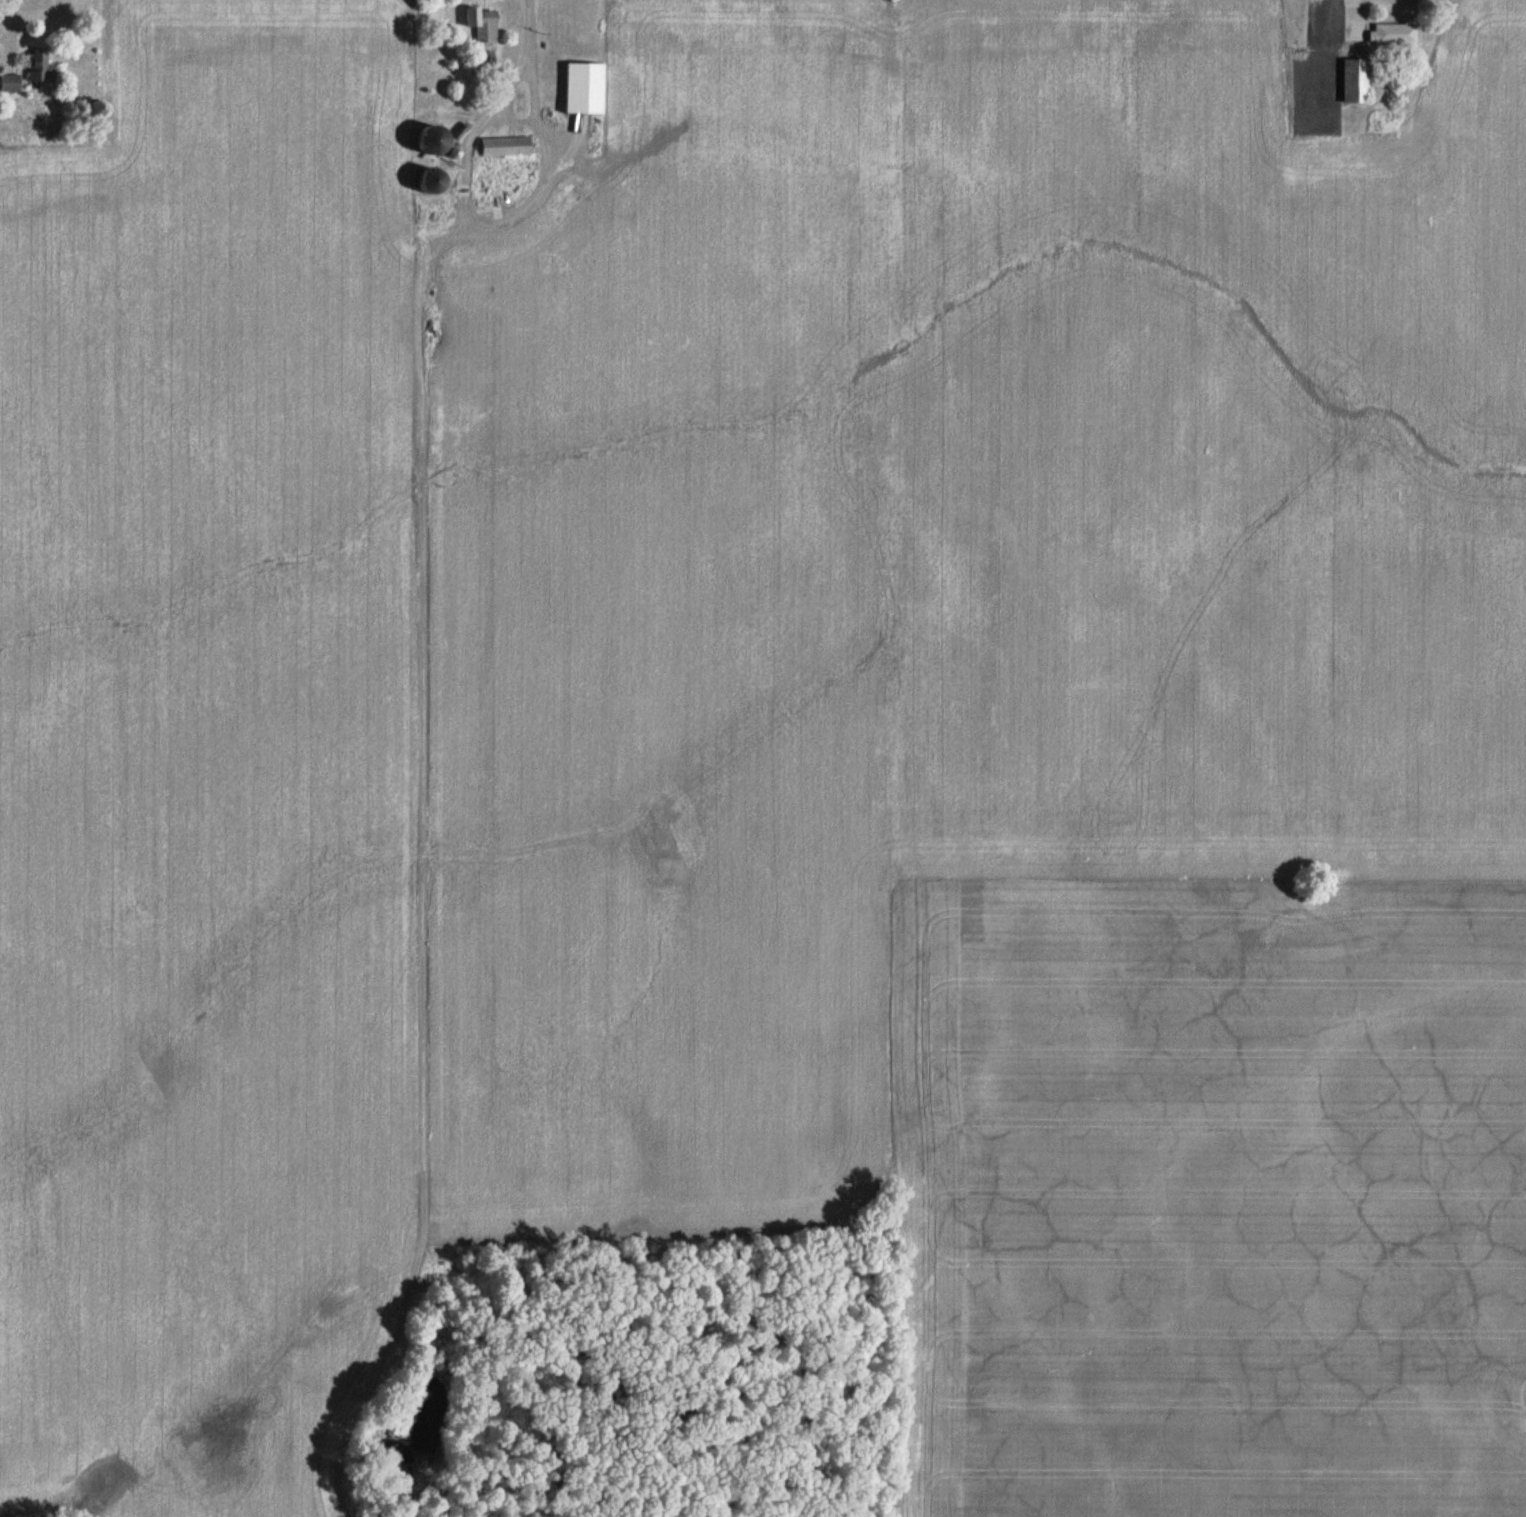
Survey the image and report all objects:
building: (485, 24)
road: (527, 24)
building: (1399, 33)
building: (487, 58)
building: (45, 66)
building: (1359, 80)
building: (12, 82)
building: (588, 87)
building: (1310, 88)
building: (433, 128)
building: (508, 145)
building: (429, 151)
road: (486, 224)

